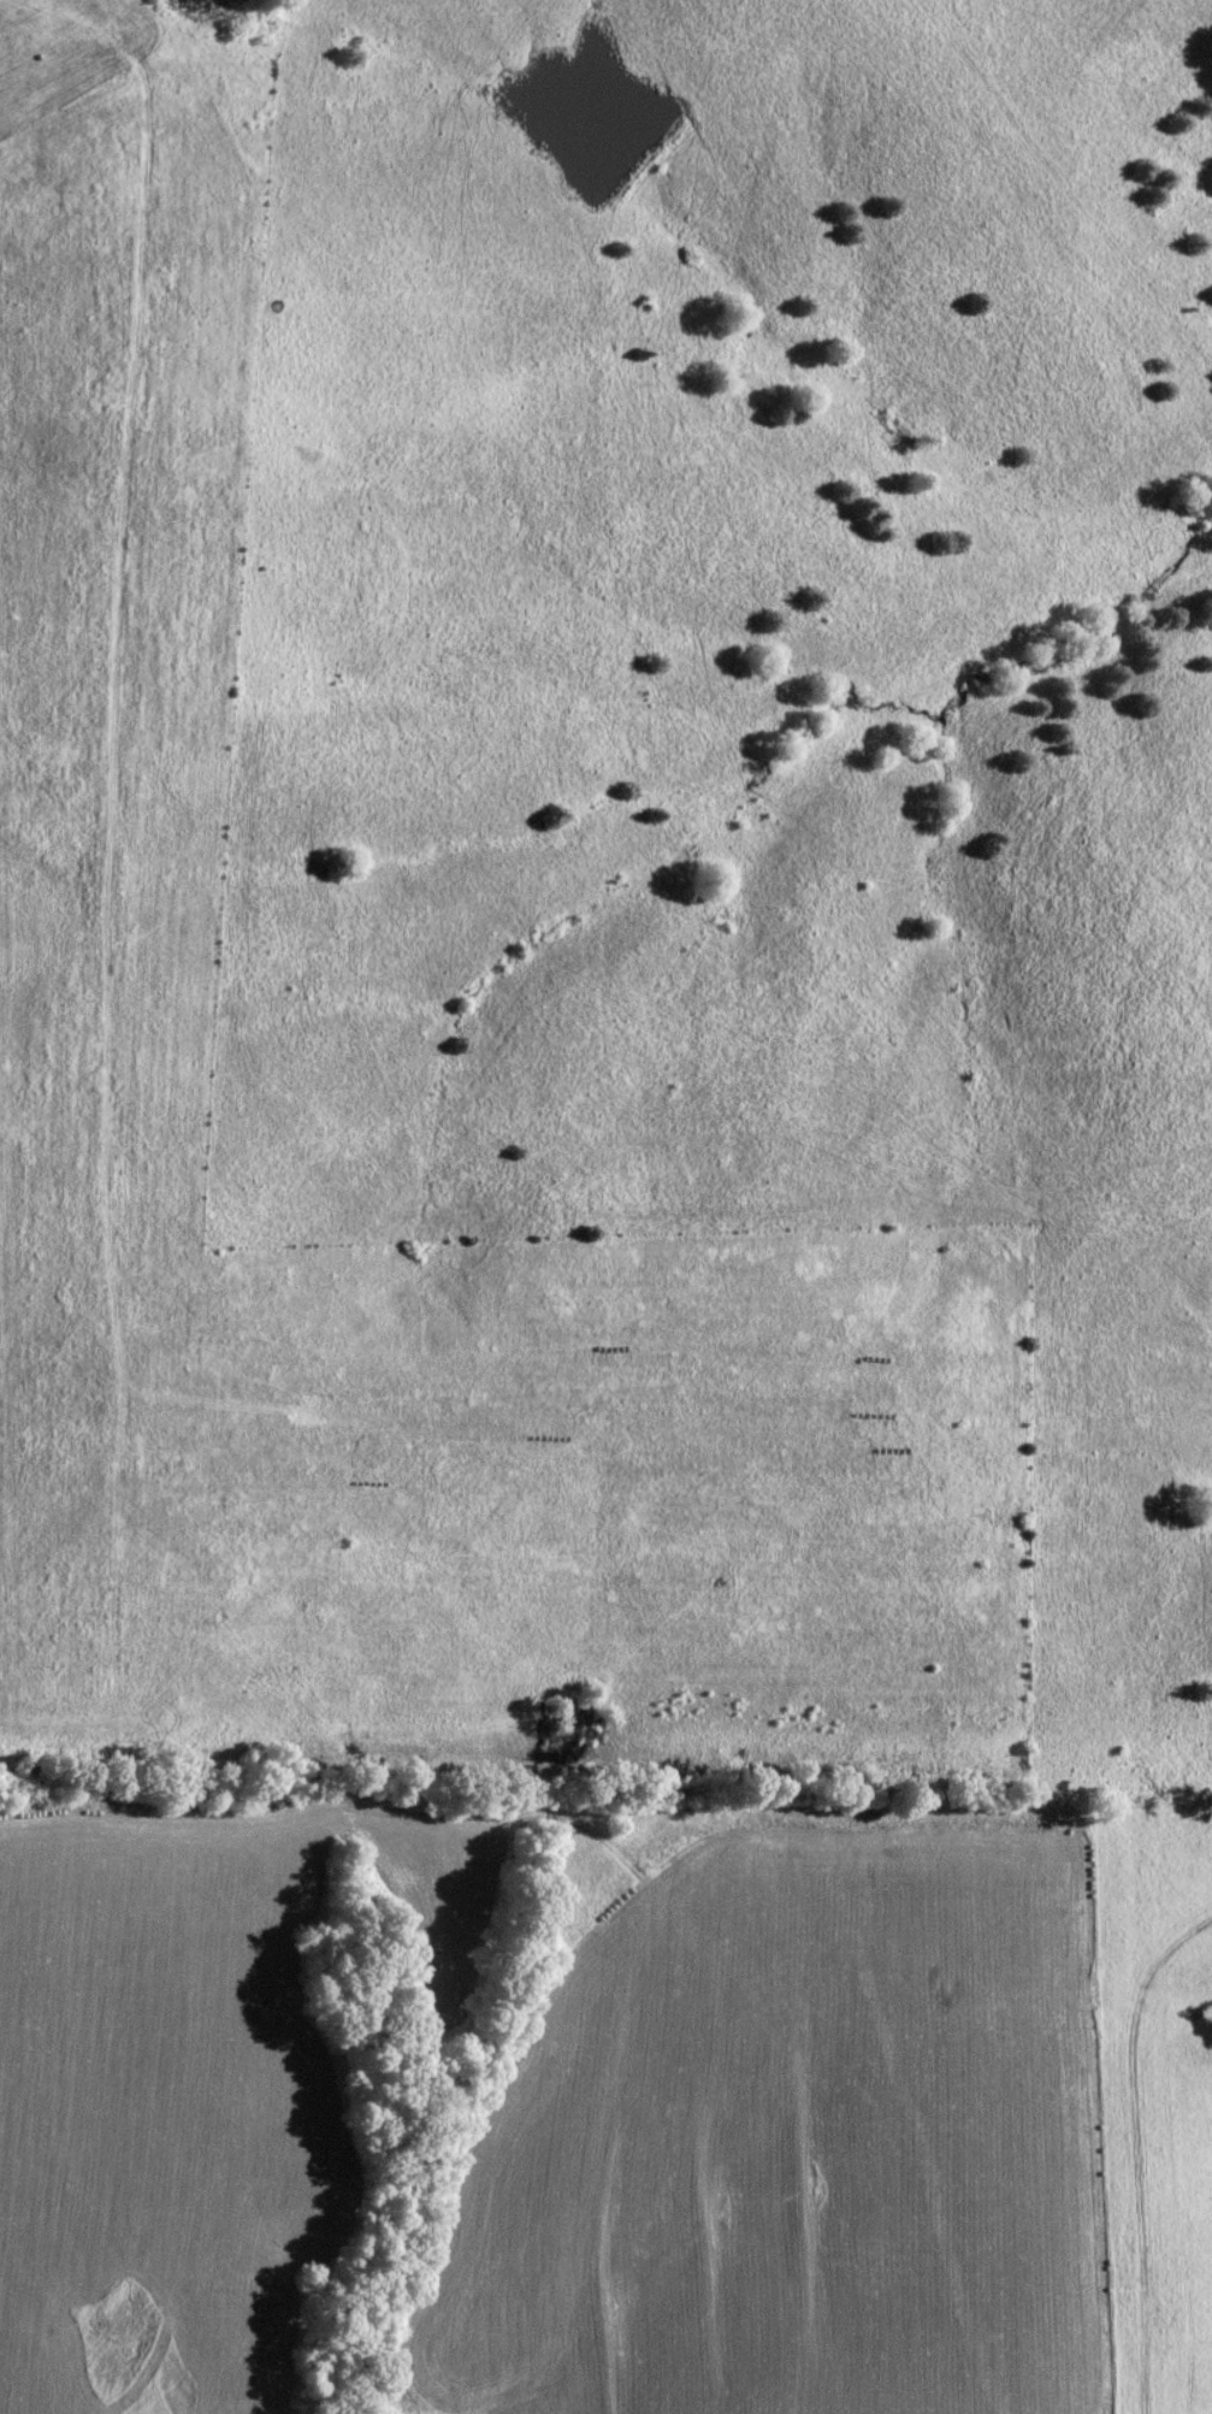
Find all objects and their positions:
road: (129, 843)
road: (1093, 2049)

